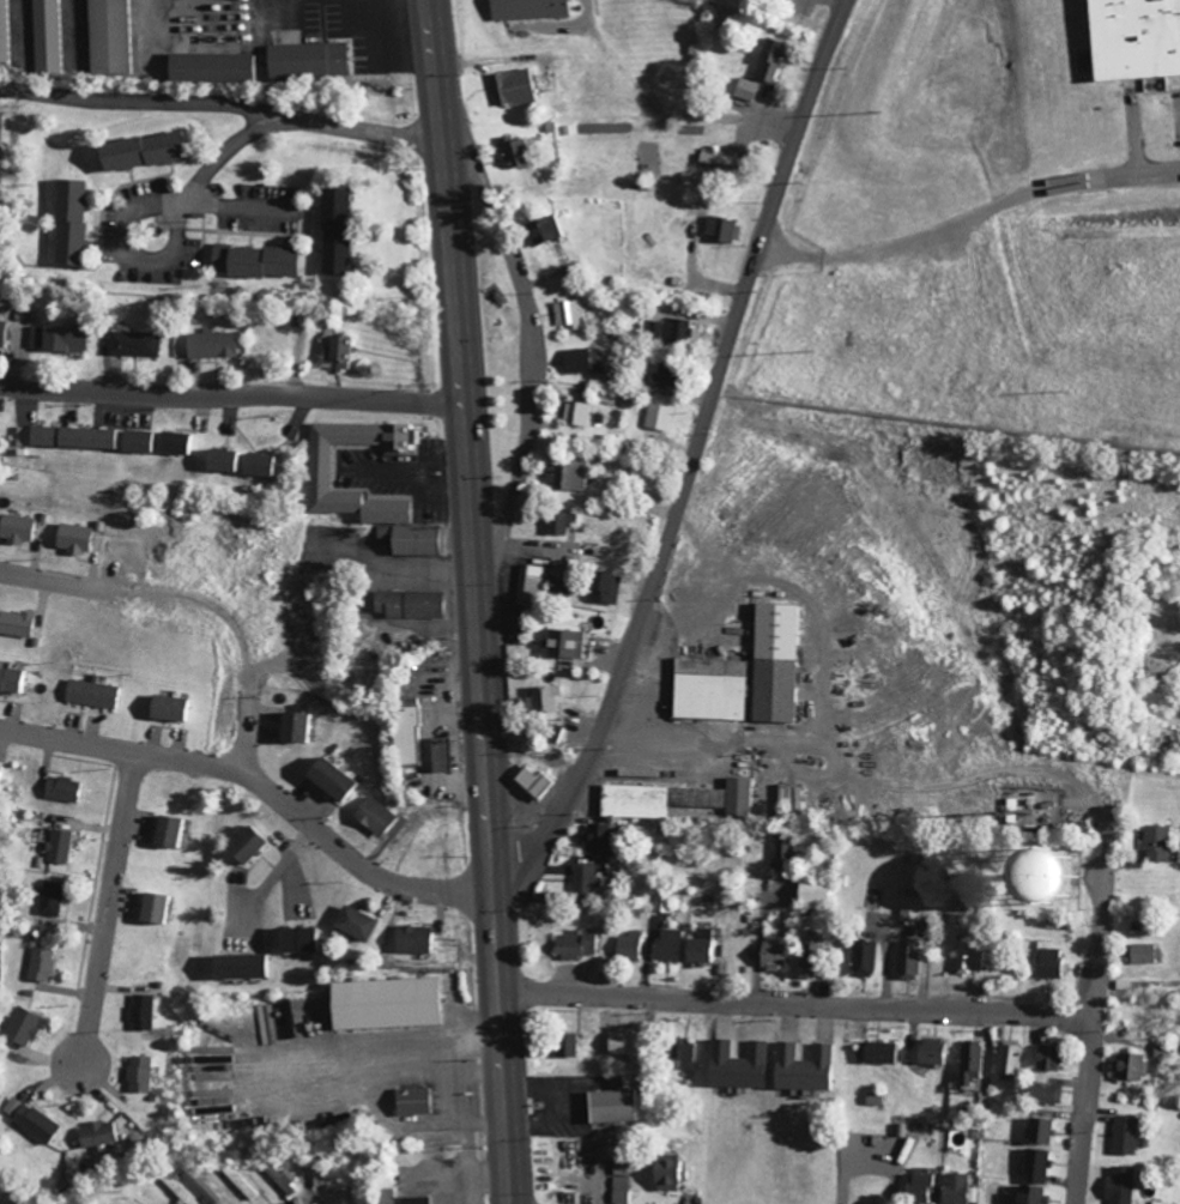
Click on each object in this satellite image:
building: (530, 8)
building: (48, 36)
building: (109, 37)
building: (1132, 38)
building: (769, 59)
building: (305, 60)
building: (210, 67)
building: (512, 87)
building: (744, 89)
road: (224, 101)
building: (516, 151)
building: (139, 152)
road: (224, 153)
building: (710, 159)
road: (240, 205)
road: (969, 214)
building: (67, 223)
road: (123, 224)
building: (545, 229)
building: (719, 230)
building: (333, 231)
building: (252, 261)
building: (571, 314)
building: (673, 329)
building: (1, 333)
building: (63, 338)
building: (133, 341)
building: (211, 344)
building: (339, 350)
building: (581, 359)
road: (535, 370)
building: (666, 375)
road: (234, 391)
building: (579, 412)
building: (660, 416)
building: (105, 437)
road: (471, 447)
road: (697, 459)
building: (241, 461)
building: (319, 467)
building: (565, 476)
building: (558, 521)
building: (14, 527)
building: (72, 537)
building: (410, 538)
road: (41, 577)
building: (530, 585)
building: (603, 586)
building: (557, 588)
building: (409, 603)
building: (16, 622)
building: (561, 642)
building: (776, 661)
building: (12, 679)
building: (709, 688)
building: (91, 694)
building: (543, 700)
building: (168, 707)
building: (295, 726)
building: (405, 732)
road: (248, 738)
road: (654, 742)
building: (438, 754)
building: (0, 778)
building: (329, 779)
road: (262, 782)
building: (533, 782)
building: (63, 788)
building: (794, 797)
building: (674, 798)
building: (374, 815)
building: (168, 830)
building: (598, 839)
building: (1155, 842)
building: (241, 843)
building: (60, 846)
road: (284, 864)
building: (1002, 869)
water tower: (1054, 876)
building: (583, 882)
building: (811, 891)
road: (1103, 897)
building: (52, 899)
building: (153, 907)
building: (909, 907)
road: (110, 915)
building: (355, 922)
building: (412, 938)
building: (577, 943)
building: (628, 945)
building: (666, 945)
building: (700, 948)
building: (1142, 954)
building: (773, 955)
building: (809, 955)
building: (863, 957)
building: (968, 957)
building: (907, 960)
building: (1049, 960)
building: (41, 963)
building: (238, 966)
building: (383, 1003)
road: (799, 1004)
building: (141, 1011)
building: (22, 1027)
building: (565, 1045)
road: (389, 1049)
road: (507, 1049)
building: (928, 1051)
building: (877, 1052)
building: (683, 1053)
building: (1046, 1057)
building: (1006, 1058)
building: (968, 1060)
building: (736, 1064)
building: (803, 1066)
building: (1130, 1066)
building: (139, 1073)
road: (1091, 1077)
building: (1042, 1094)
building: (411, 1100)
building: (610, 1105)
building: (30, 1119)
road: (413, 1126)
building: (1040, 1130)
building: (96, 1133)
building: (1124, 1135)
building: (1035, 1164)
building: (665, 1172)
building: (283, 1178)
building: (241, 1181)
building: (1118, 1185)
building: (205, 1186)
building: (180, 1188)
building: (916, 1188)
building: (954, 1188)
building: (1029, 1194)
building: (399, 1197)
building: (1160, 1202)

